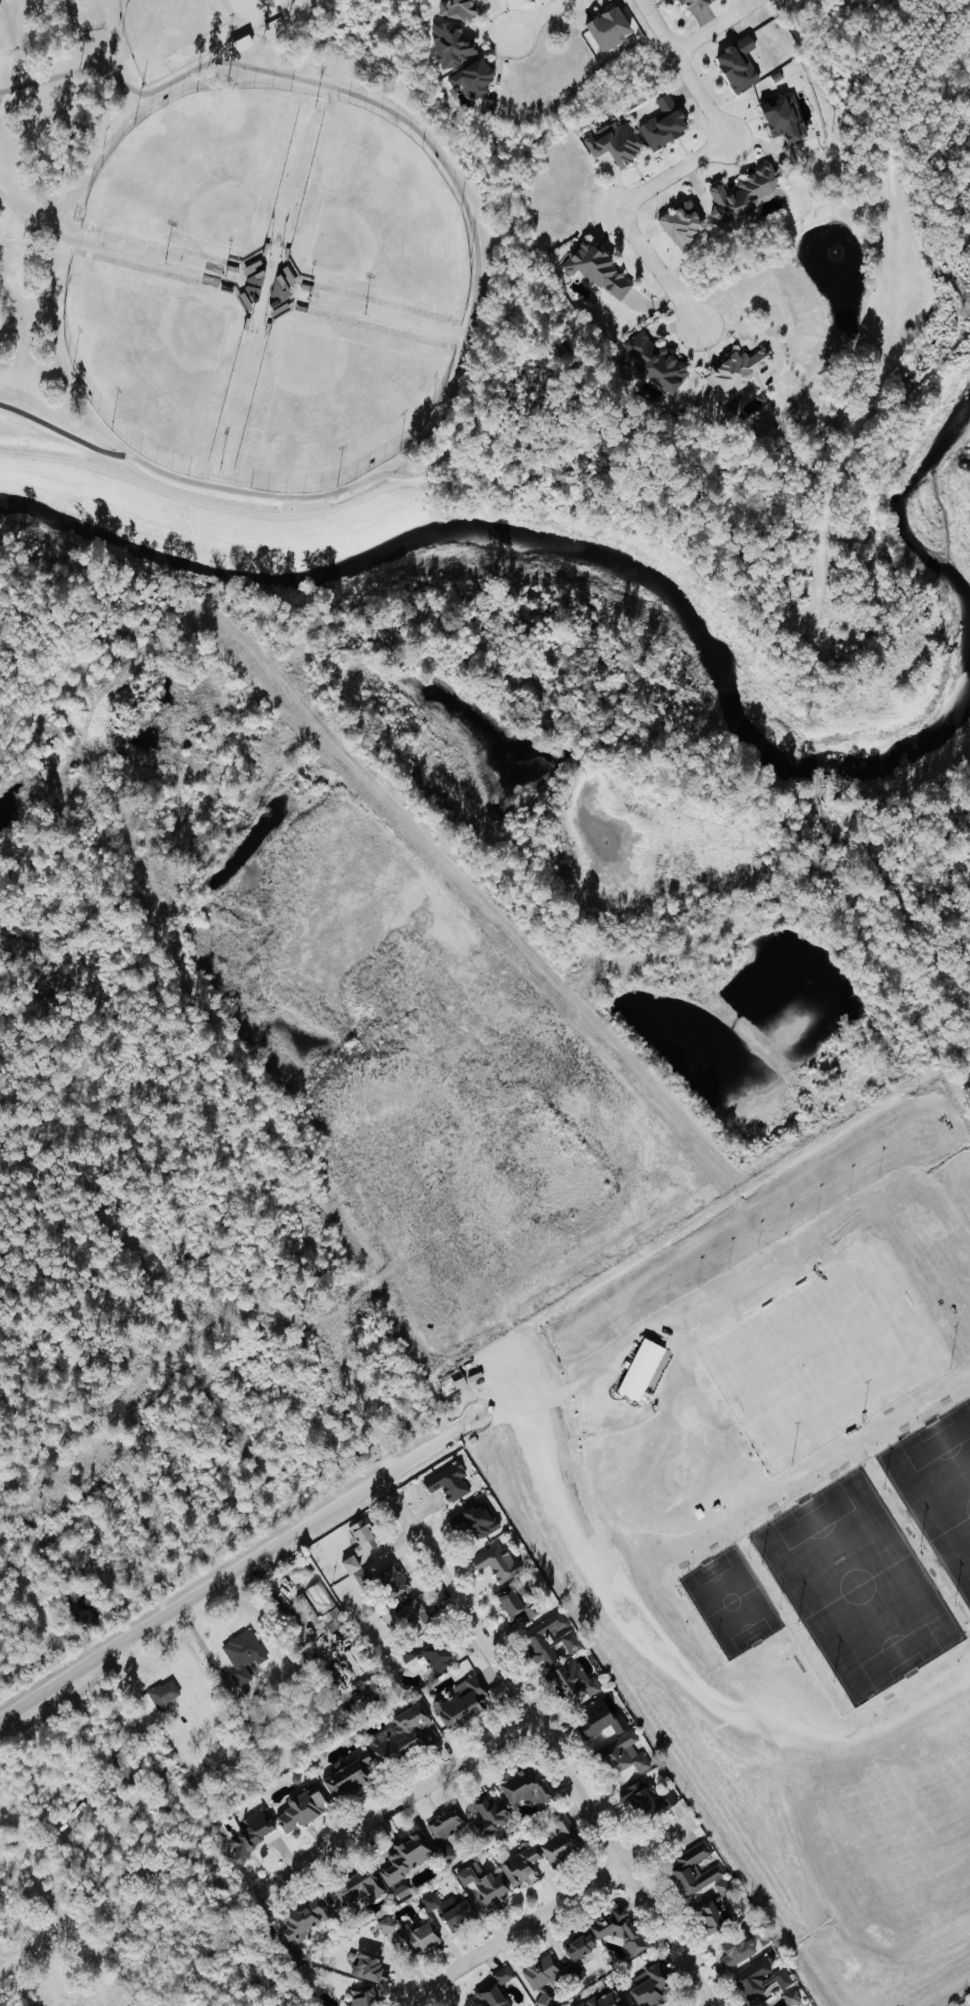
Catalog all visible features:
building: (694, 3)
building: (458, 9)
road: (540, 18)
road: (713, 26)
building: (608, 28)
park: (188, 29)
road: (949, 29)
building: (451, 44)
building: (738, 64)
building: (475, 82)
building: (784, 118)
building: (664, 123)
road: (720, 124)
building: (615, 142)
park: (198, 174)
building: (742, 194)
park: (379, 219)
building: (682, 225)
road: (658, 267)
building: (597, 269)
park: (278, 293)
road: (472, 302)
park: (152, 356)
building: (655, 362)
building: (737, 370)
road: (595, 394)
park: (334, 401)
river: (902, 509)
river: (569, 549)
road: (850, 577)
park: (827, 1355)
building: (641, 1369)
building: (452, 1381)
road: (539, 1410)
building: (449, 1481)
park: (938, 1486)
building: (478, 1521)
building: (363, 1536)
building: (496, 1563)
building: (350, 1564)
road: (240, 1566)
building: (384, 1578)
park: (858, 1585)
building: (320, 1596)
park: (732, 1601)
building: (517, 1605)
building: (406, 1616)
building: (550, 1640)
building: (407, 1652)
building: (244, 1653)
building: (438, 1656)
building: (574, 1679)
building: (160, 1695)
building: (462, 1702)
building: (599, 1719)
building: (401, 1732)
road: (551, 1750)
building: (624, 1754)
building: (349, 1777)
building: (526, 1786)
building: (645, 1798)
road: (391, 1808)
building: (301, 1810)
building: (493, 1815)
building: (447, 1823)
building: (251, 1835)
building: (561, 1838)
building: (406, 1857)
building: (521, 1867)
building: (680, 1870)
building: (484, 1884)
building: (358, 1887)
building: (402, 1891)
building: (726, 1892)
road: (566, 1900)
building: (451, 1910)
building: (711, 1916)
building: (305, 1917)
road: (58, 1927)
building: (618, 1929)
building: (579, 1946)
building: (737, 1949)
road: (60, 1966)
building: (368, 1966)
building: (543, 1972)
building: (503, 1975)
building: (760, 1978)
building: (649, 1985)
road: (423, 1990)
road: (442, 1994)
building: (491, 1995)
building: (363, 1996)
building: (792, 1997)
building: (605, 1999)
building: (545, 2000)

